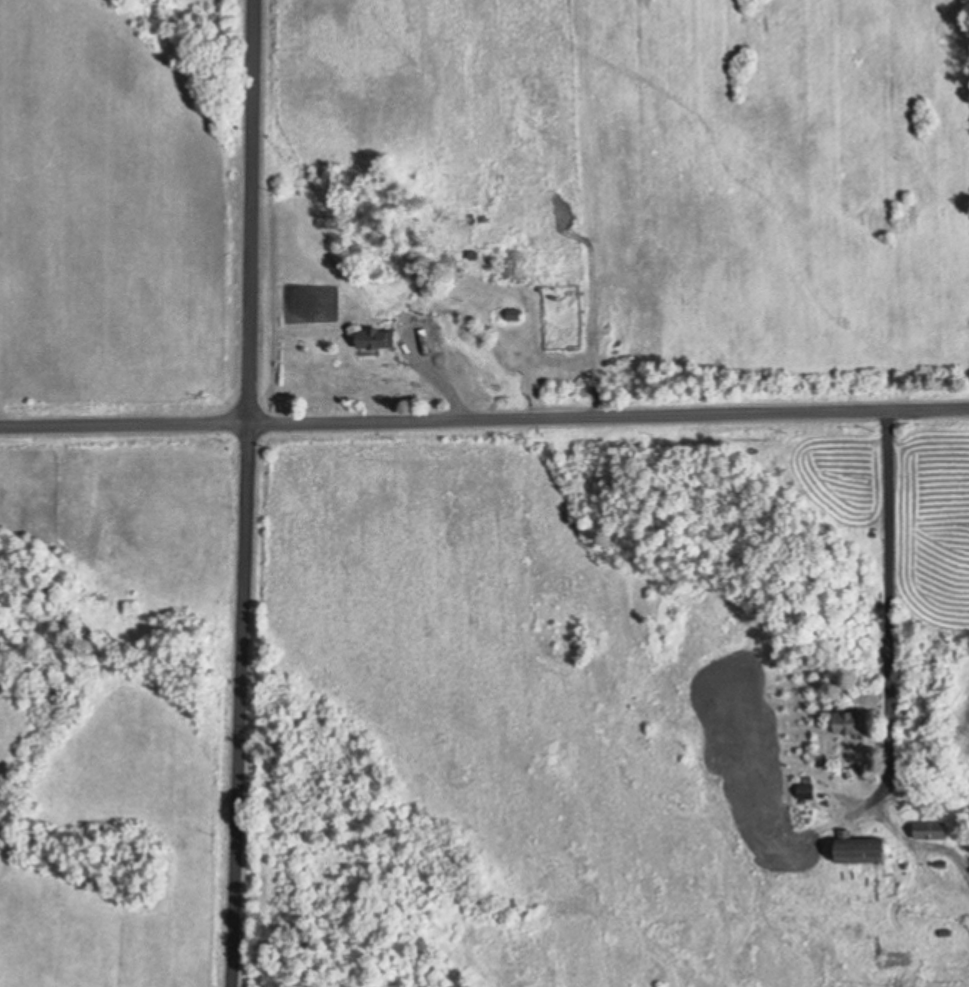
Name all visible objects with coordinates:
building: (482, 217)
building: (466, 219)
building: (512, 260)
building: (515, 312)
building: (377, 336)
road: (484, 420)
road: (246, 493)
road: (888, 614)
building: (853, 722)
building: (907, 771)
building: (808, 790)
building: (932, 828)
building: (861, 846)
building: (943, 863)
building: (947, 932)

